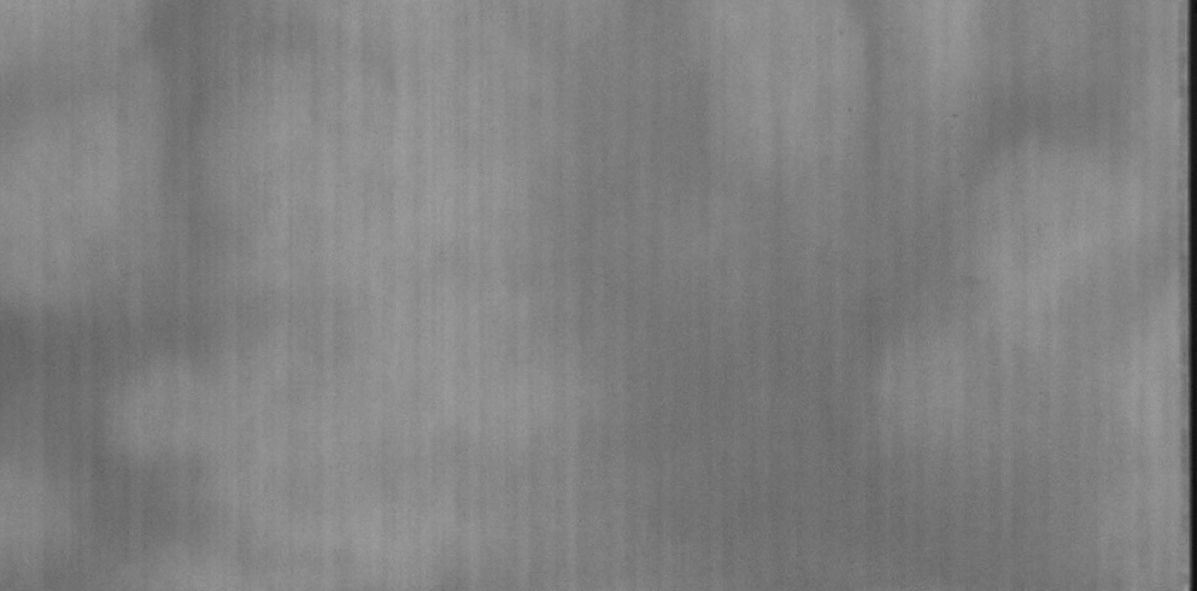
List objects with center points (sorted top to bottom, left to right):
road: (1196, 66)

